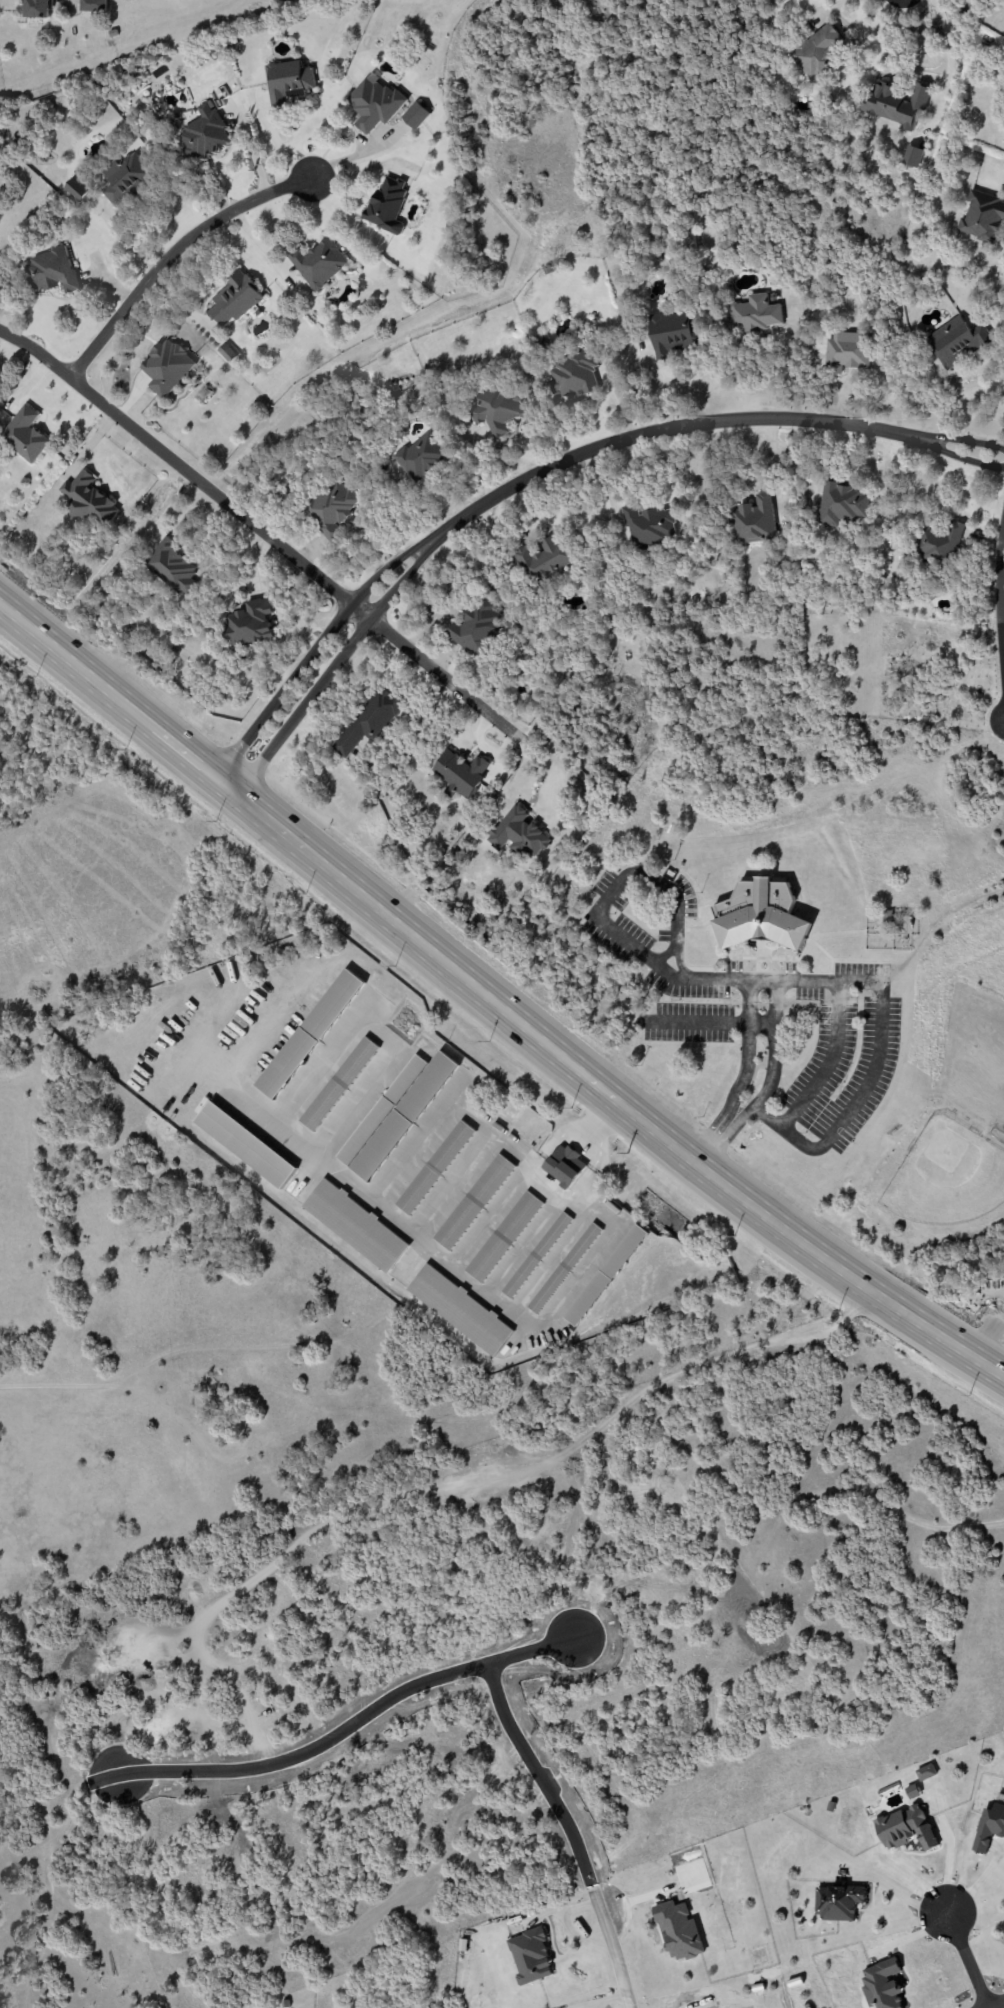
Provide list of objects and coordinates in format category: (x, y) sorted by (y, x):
building: (93, 6)
building: (39, 9)
building: (816, 54)
road: (947, 64)
building: (288, 82)
building: (374, 103)
building: (895, 103)
building: (415, 115)
building: (203, 133)
road: (279, 145)
road: (357, 154)
building: (912, 156)
building: (126, 179)
building: (78, 189)
building: (387, 205)
building: (982, 218)
road: (171, 255)
building: (319, 263)
building: (51, 271)
building: (234, 299)
building: (755, 314)
building: (674, 333)
building: (956, 342)
building: (846, 351)
building: (227, 352)
building: (166, 367)
building: (573, 374)
building: (499, 410)
road: (652, 431)
building: (25, 434)
road: (946, 443)
road: (946, 452)
building: (421, 457)
road: (177, 464)
building: (88, 499)
building: (843, 503)
building: (331, 508)
building: (754, 521)
building: (648, 526)
building: (939, 545)
building: (544, 561)
building: (171, 566)
road: (998, 615)
building: (249, 624)
building: (475, 626)
road: (316, 646)
road: (335, 663)
road: (437, 675)
building: (369, 721)
building: (461, 773)
building: (518, 833)
building: (769, 916)
road: (679, 962)
road: (770, 982)
road: (492, 1006)
parking lot: (760, 1013)
road: (719, 1023)
road: (761, 1023)
building: (309, 1034)
road: (774, 1047)
road: (746, 1057)
road: (826, 1061)
building: (339, 1083)
building: (381, 1110)
building: (404, 1116)
road: (713, 1128)
road: (724, 1139)
building: (245, 1145)
building: (565, 1165)
building: (435, 1168)
park: (939, 1173)
building: (474, 1202)
building: (355, 1225)
building: (503, 1237)
building: (536, 1255)
building: (564, 1268)
building: (606, 1275)
building: (459, 1310)
building: (926, 1772)
building: (912, 1792)
building: (907, 1826)
building: (991, 1826)
road: (978, 1885)
road: (898, 1894)
building: (841, 1900)
building: (678, 1930)
road: (613, 1948)
building: (530, 1956)
road: (967, 1959)
building: (884, 1983)
road: (998, 2005)

